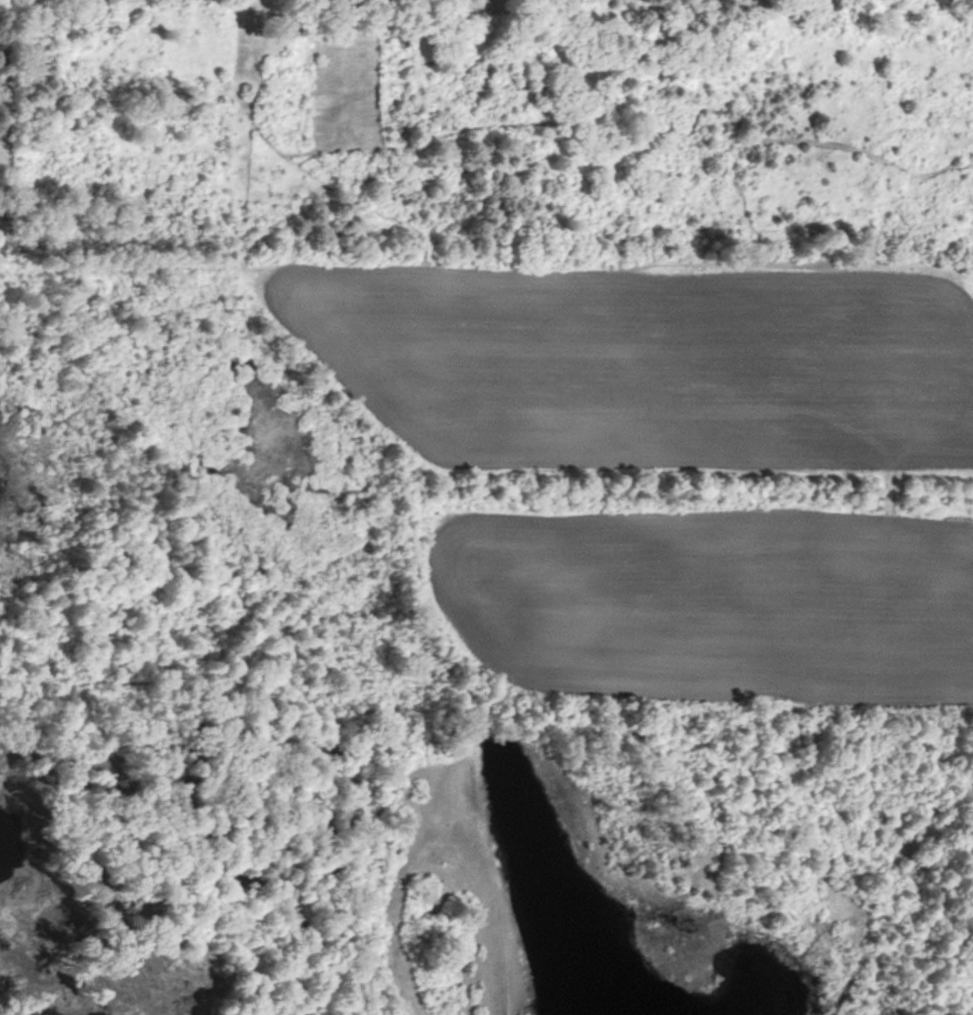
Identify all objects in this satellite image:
road: (398, 982)

